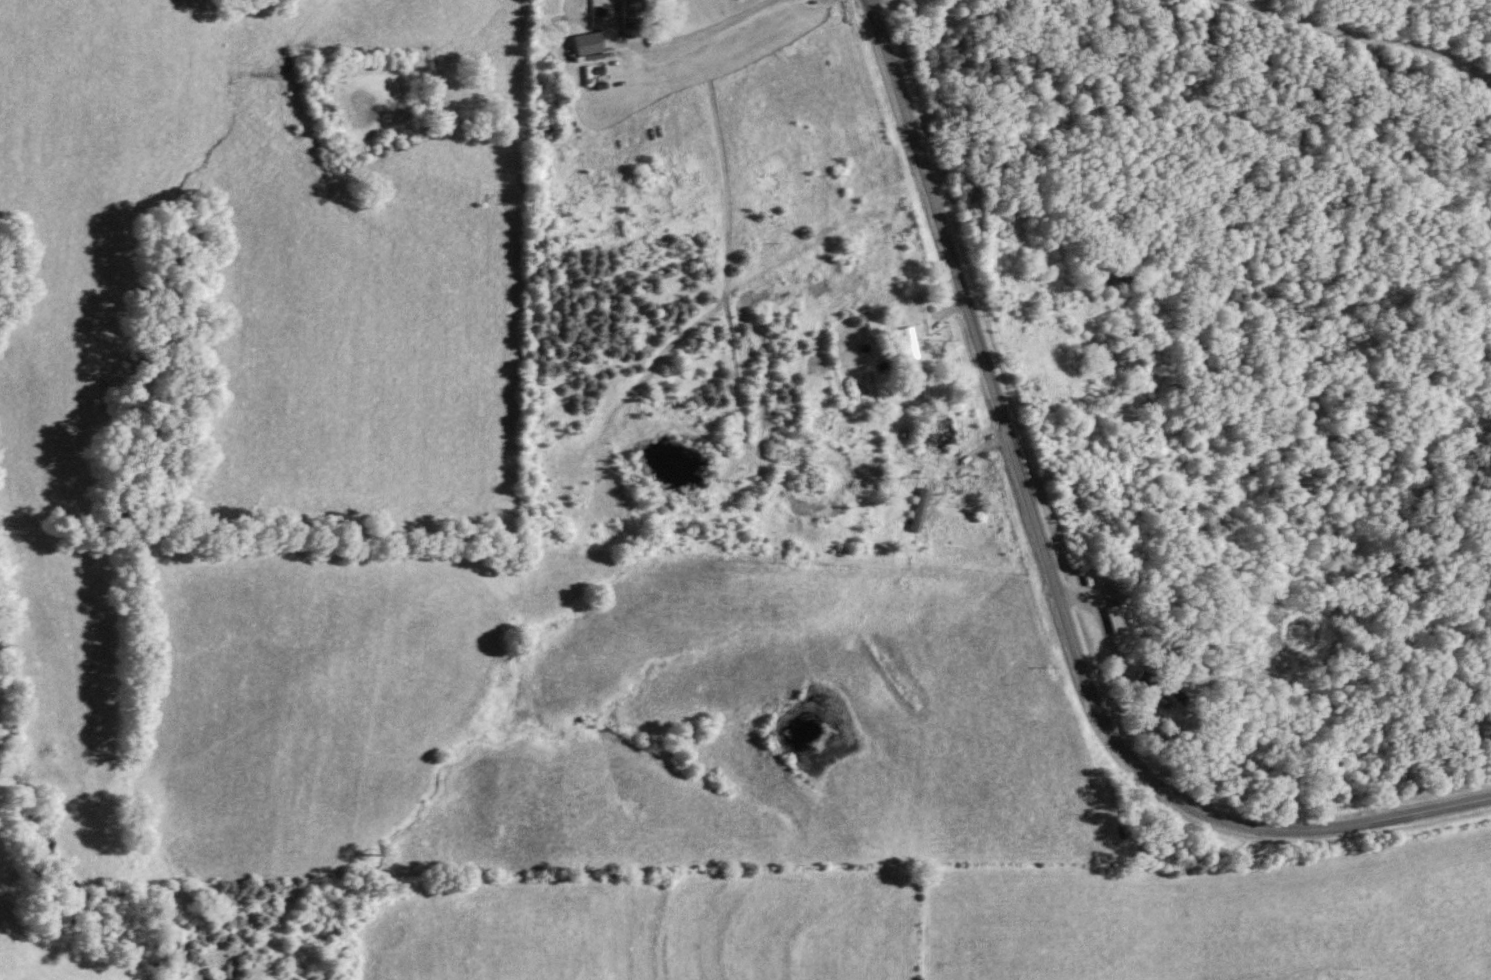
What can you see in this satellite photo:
road: (879, 4)
building: (631, 14)
road: (695, 39)
building: (588, 43)
building: (745, 237)
building: (819, 305)
building: (910, 352)
building: (931, 526)
road: (1050, 569)
building: (1117, 619)

